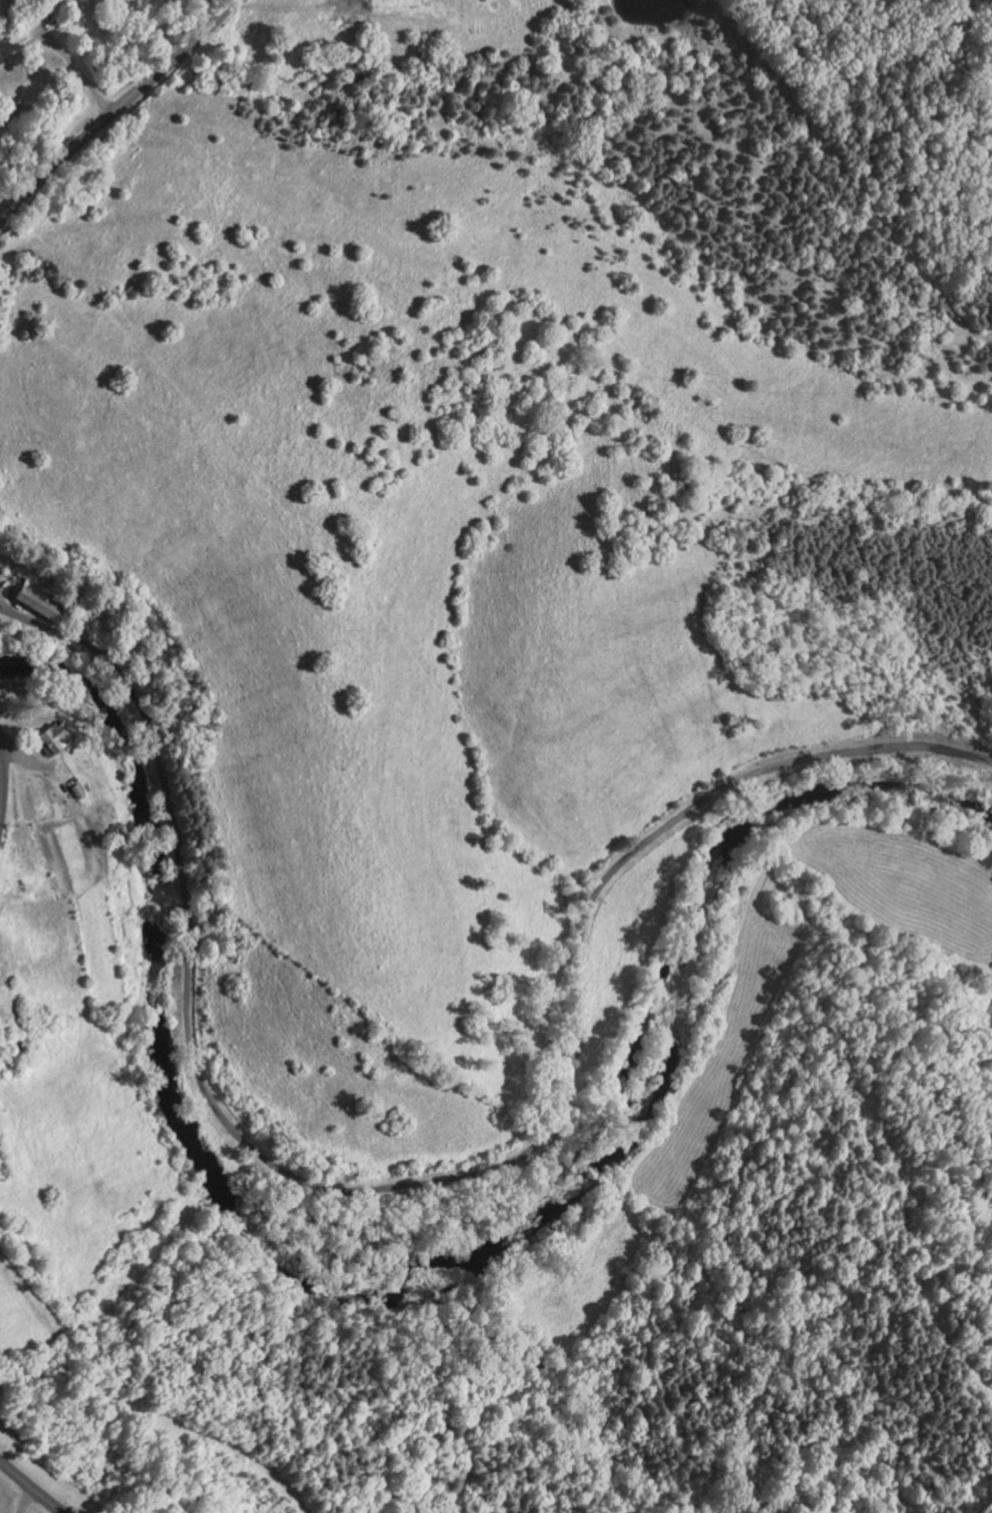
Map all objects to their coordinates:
road: (990, 1)
road: (272, 6)
building: (70, 15)
building: (1, 57)
road: (79, 71)
road: (116, 110)
road: (3, 212)
building: (42, 599)
building: (39, 635)
building: (52, 736)
road: (25, 758)
road: (0, 790)
building: (16, 1044)
road: (421, 1181)
road: (32, 1486)
road: (25, 1498)

